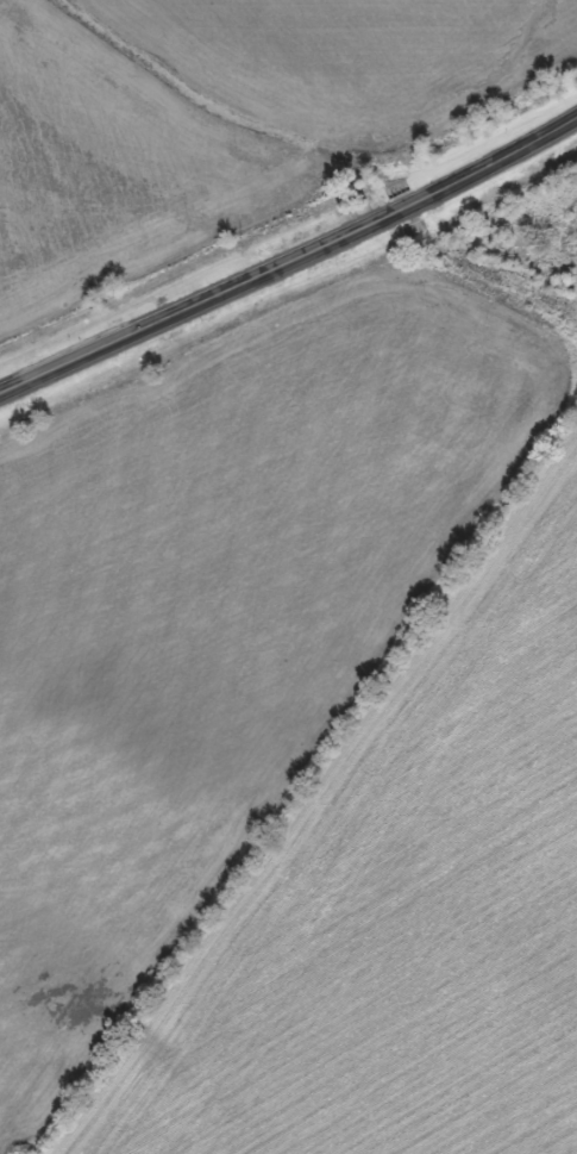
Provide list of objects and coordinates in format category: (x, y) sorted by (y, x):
road: (291, 260)

